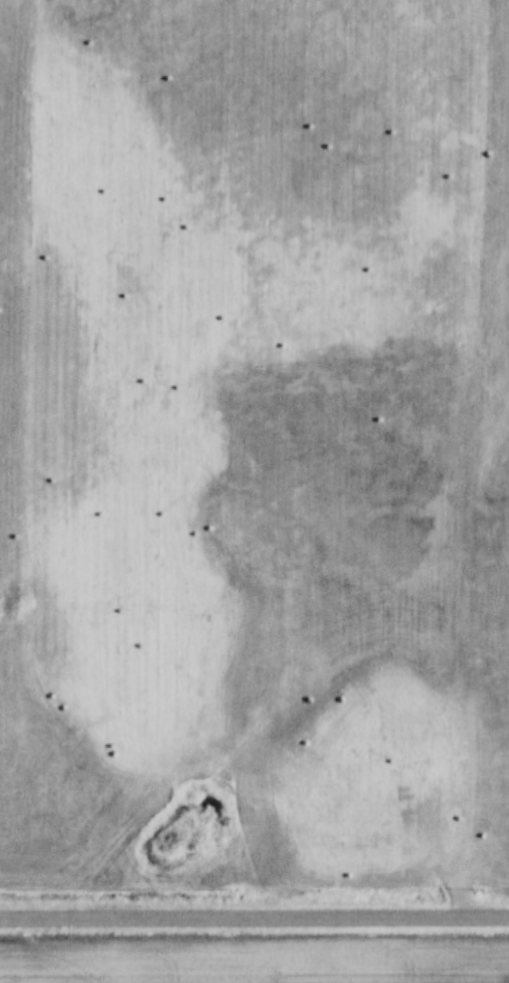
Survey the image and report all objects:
road: (254, 916)

